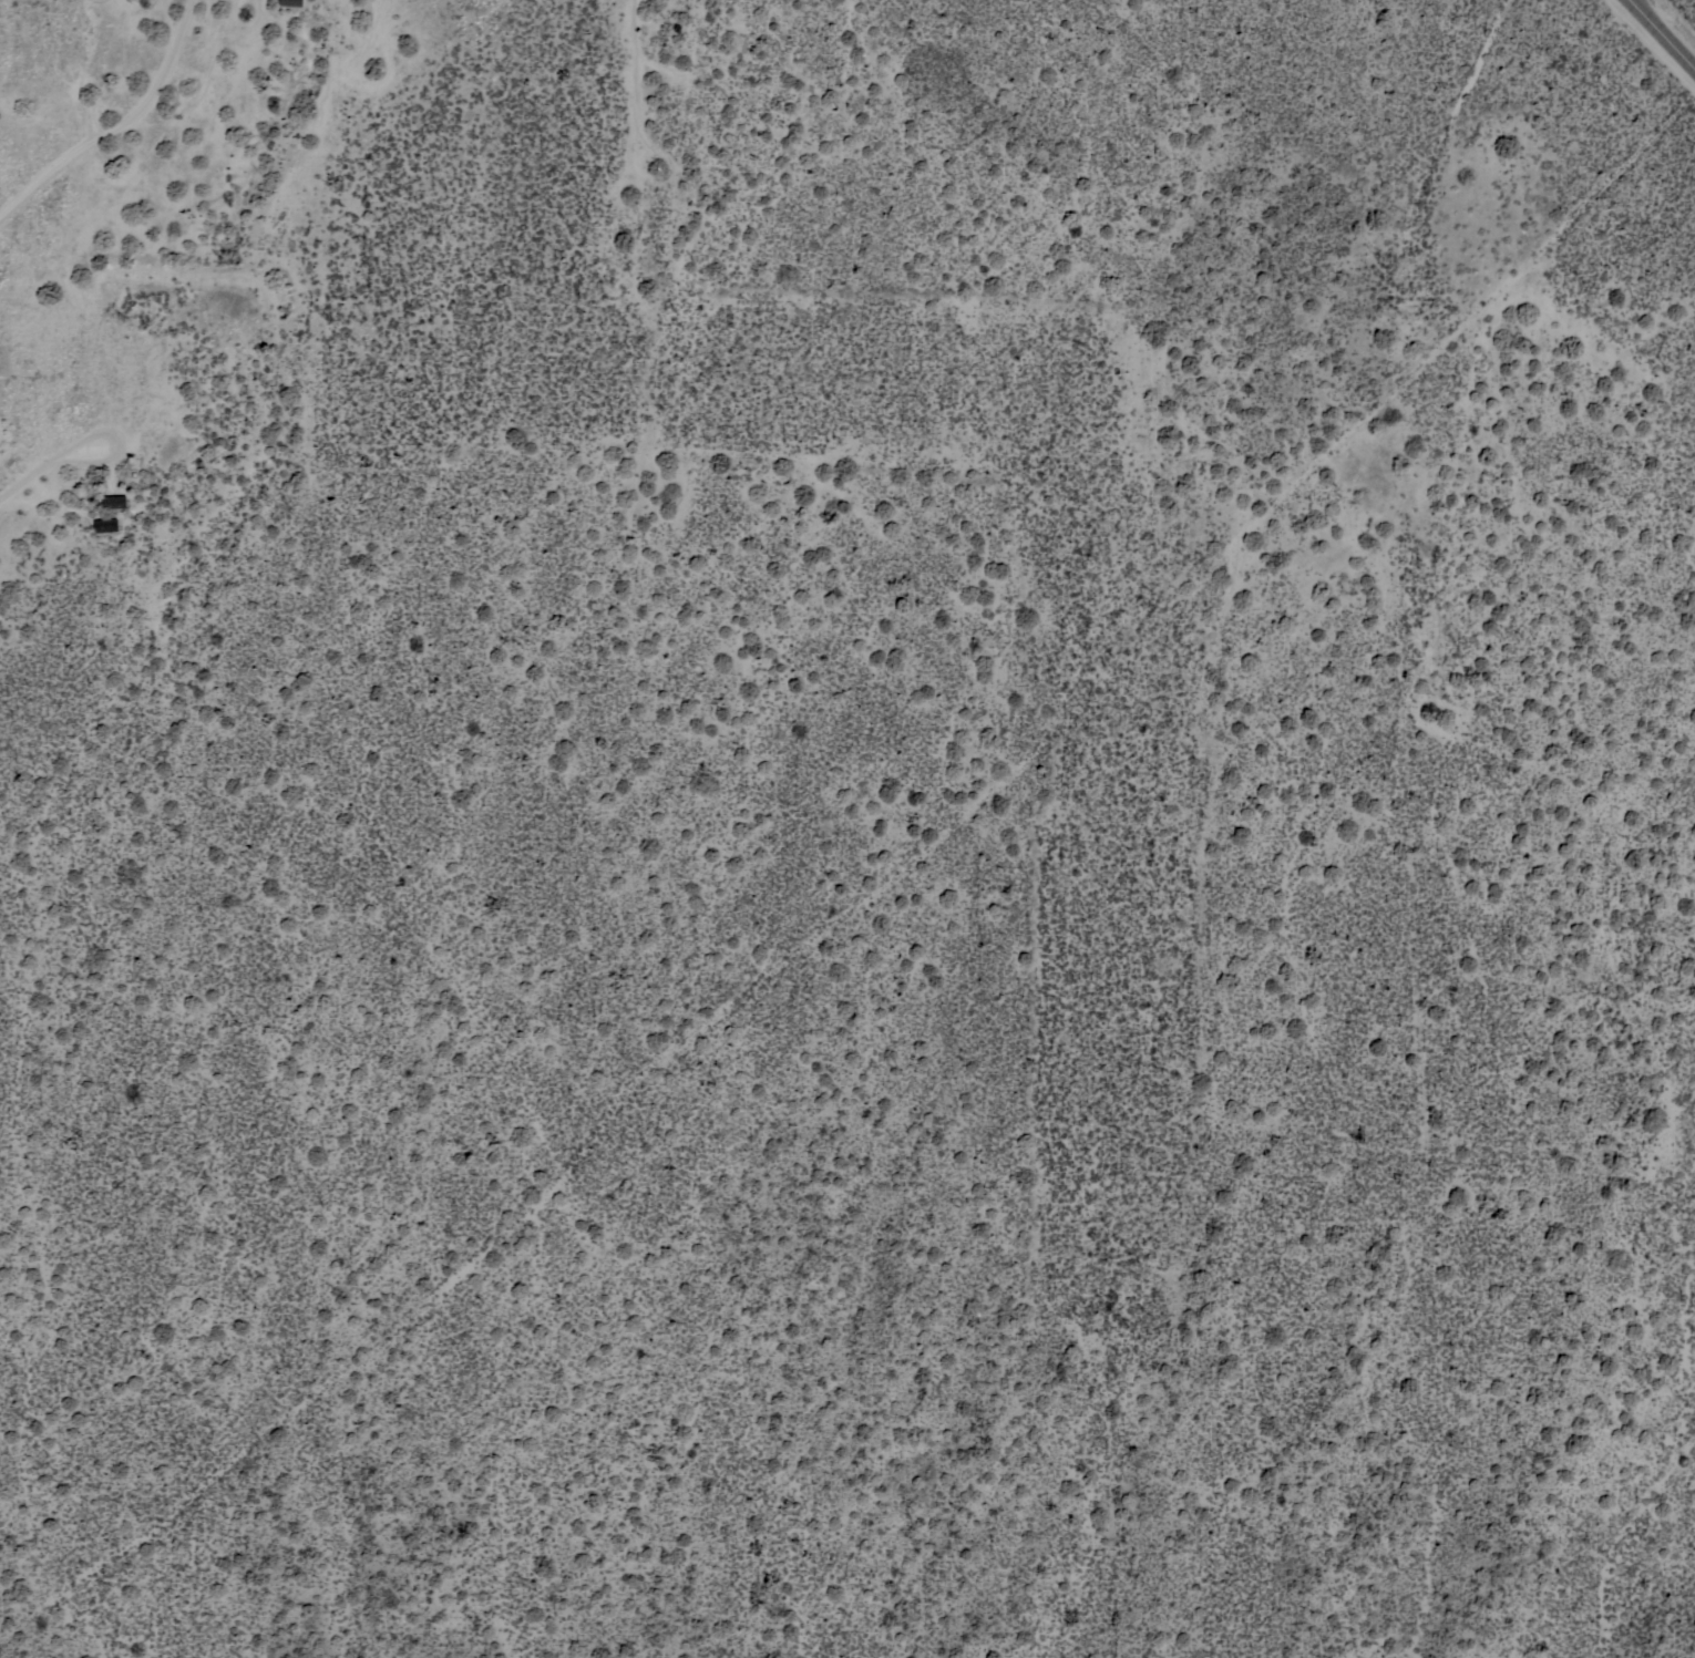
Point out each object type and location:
building: (292, 2)
road: (1662, 33)
road: (122, 130)
building: (114, 501)
building: (105, 525)

